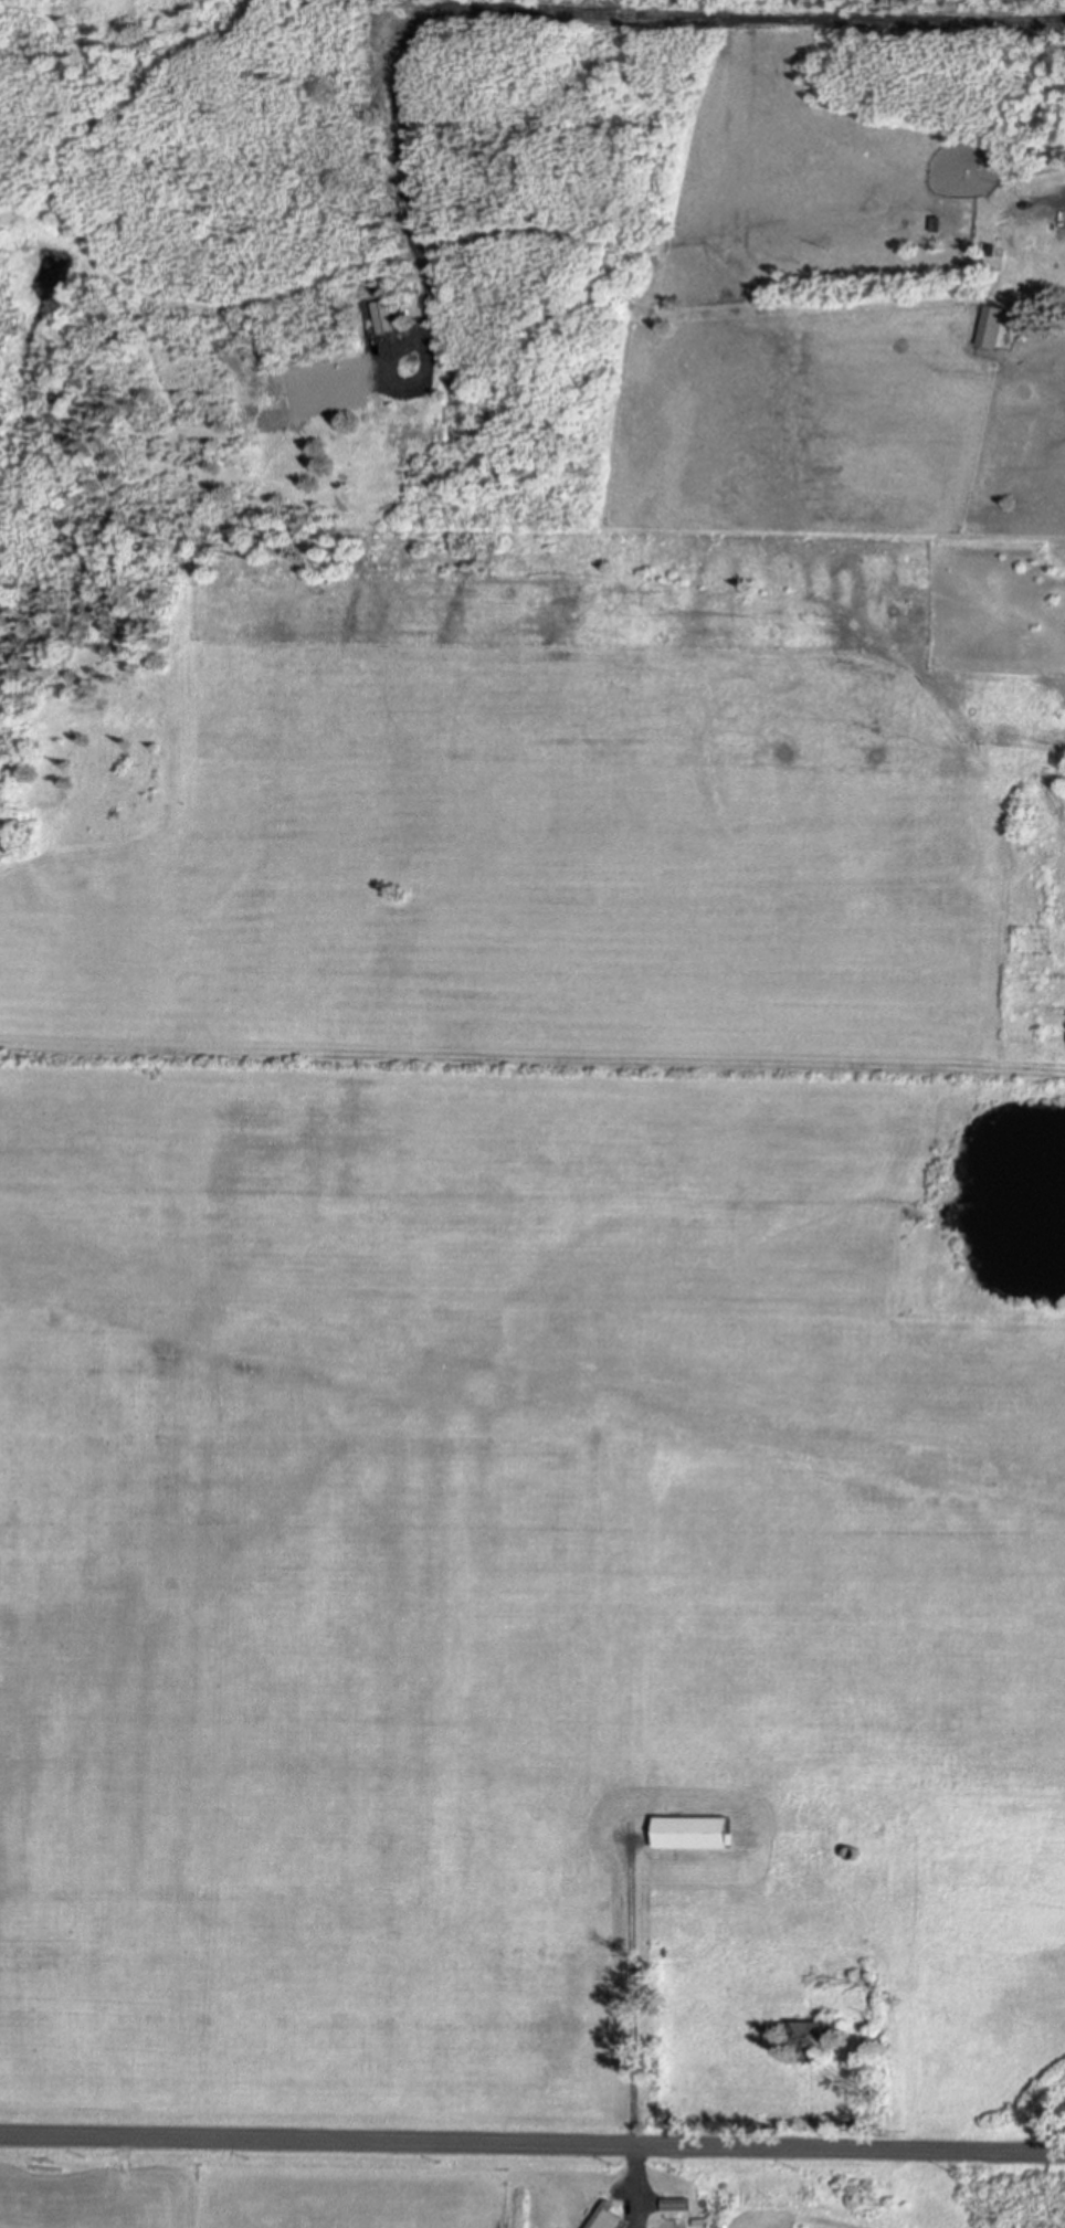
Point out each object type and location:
building: (936, 221)
building: (990, 246)
building: (990, 324)
building: (693, 1830)
road: (632, 1994)
building: (813, 2039)
road: (532, 2143)
building: (604, 2216)
building: (671, 2222)

